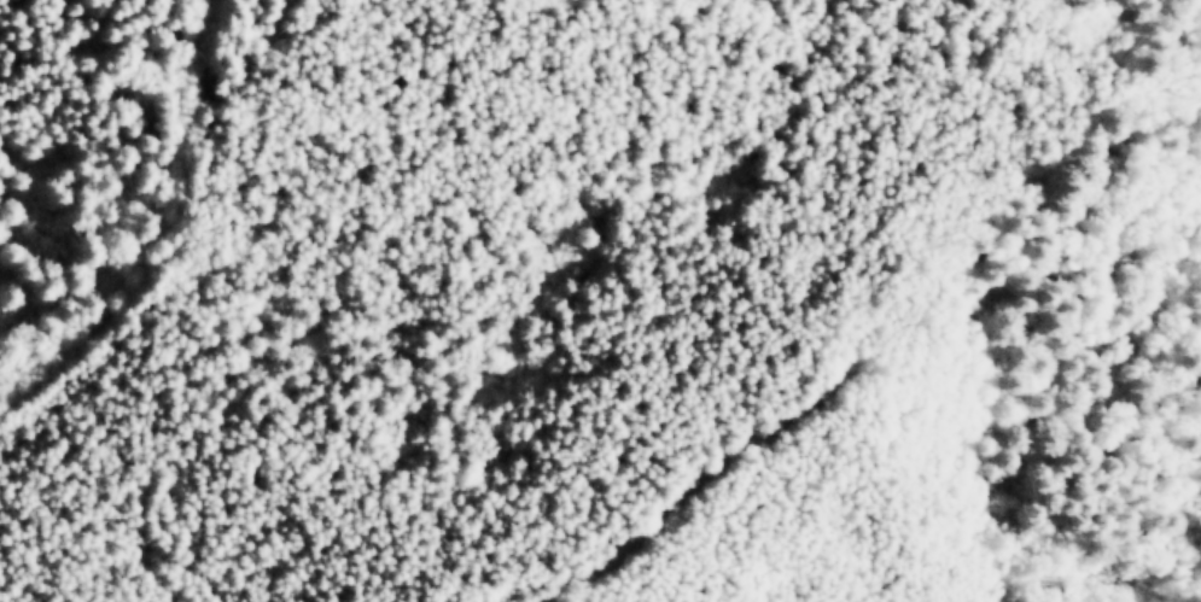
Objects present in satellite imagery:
road: (168, 236)
road: (721, 490)

